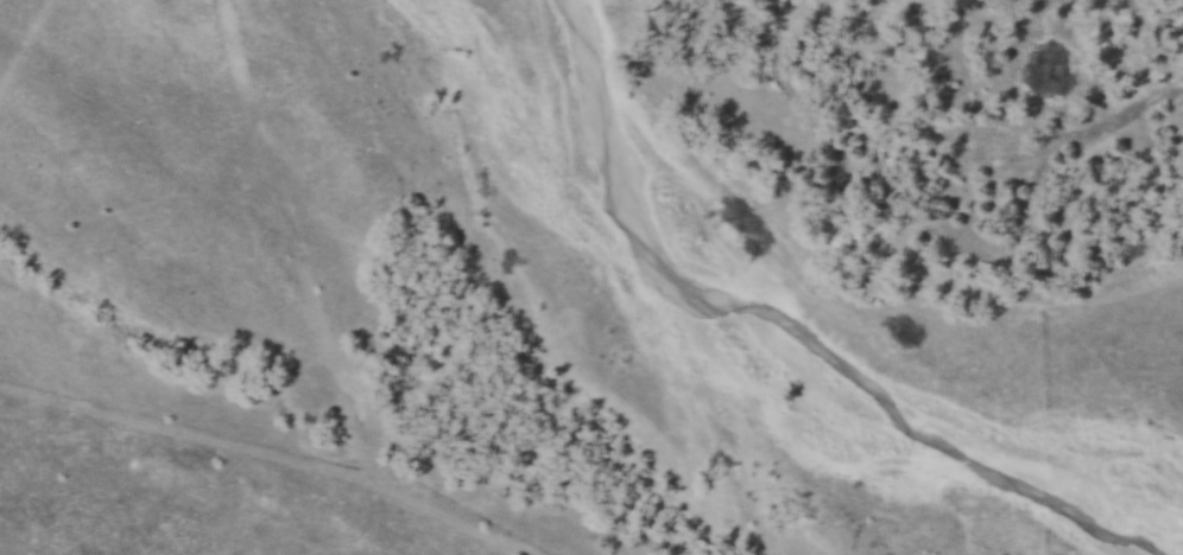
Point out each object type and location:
river: (799, 330)

